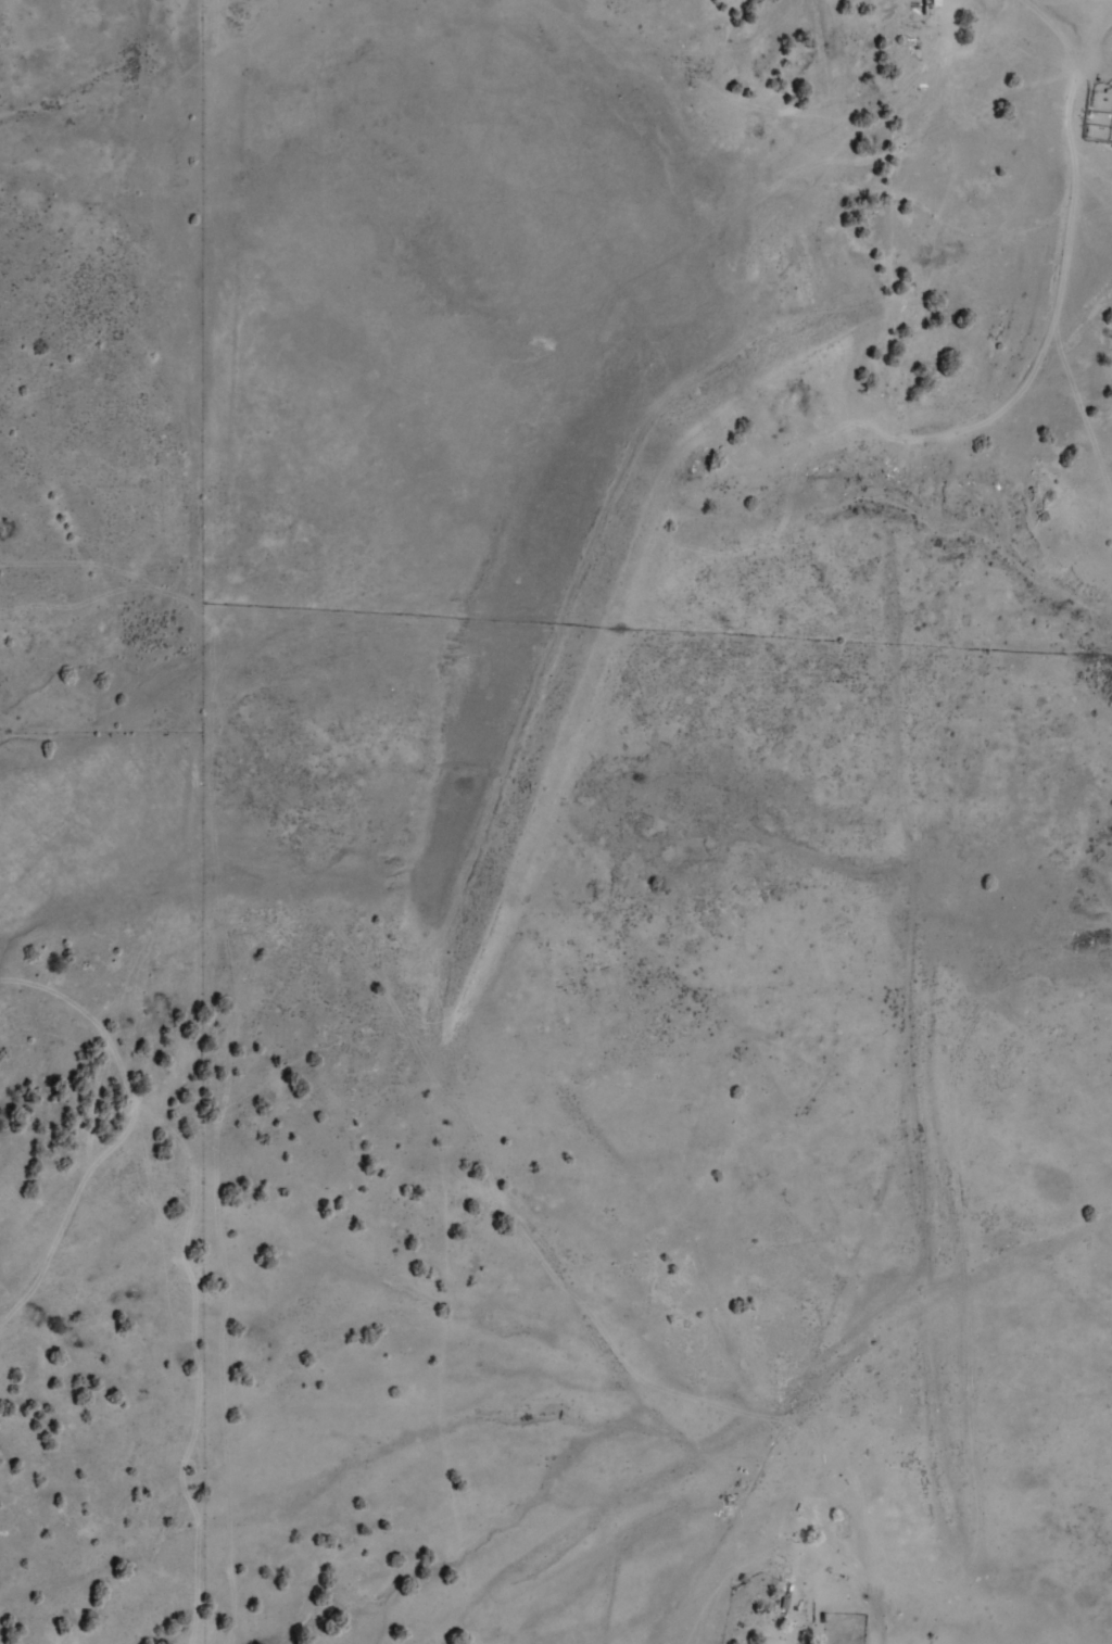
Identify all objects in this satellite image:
building: (1099, 116)
building: (789, 1510)
building: (788, 1631)

